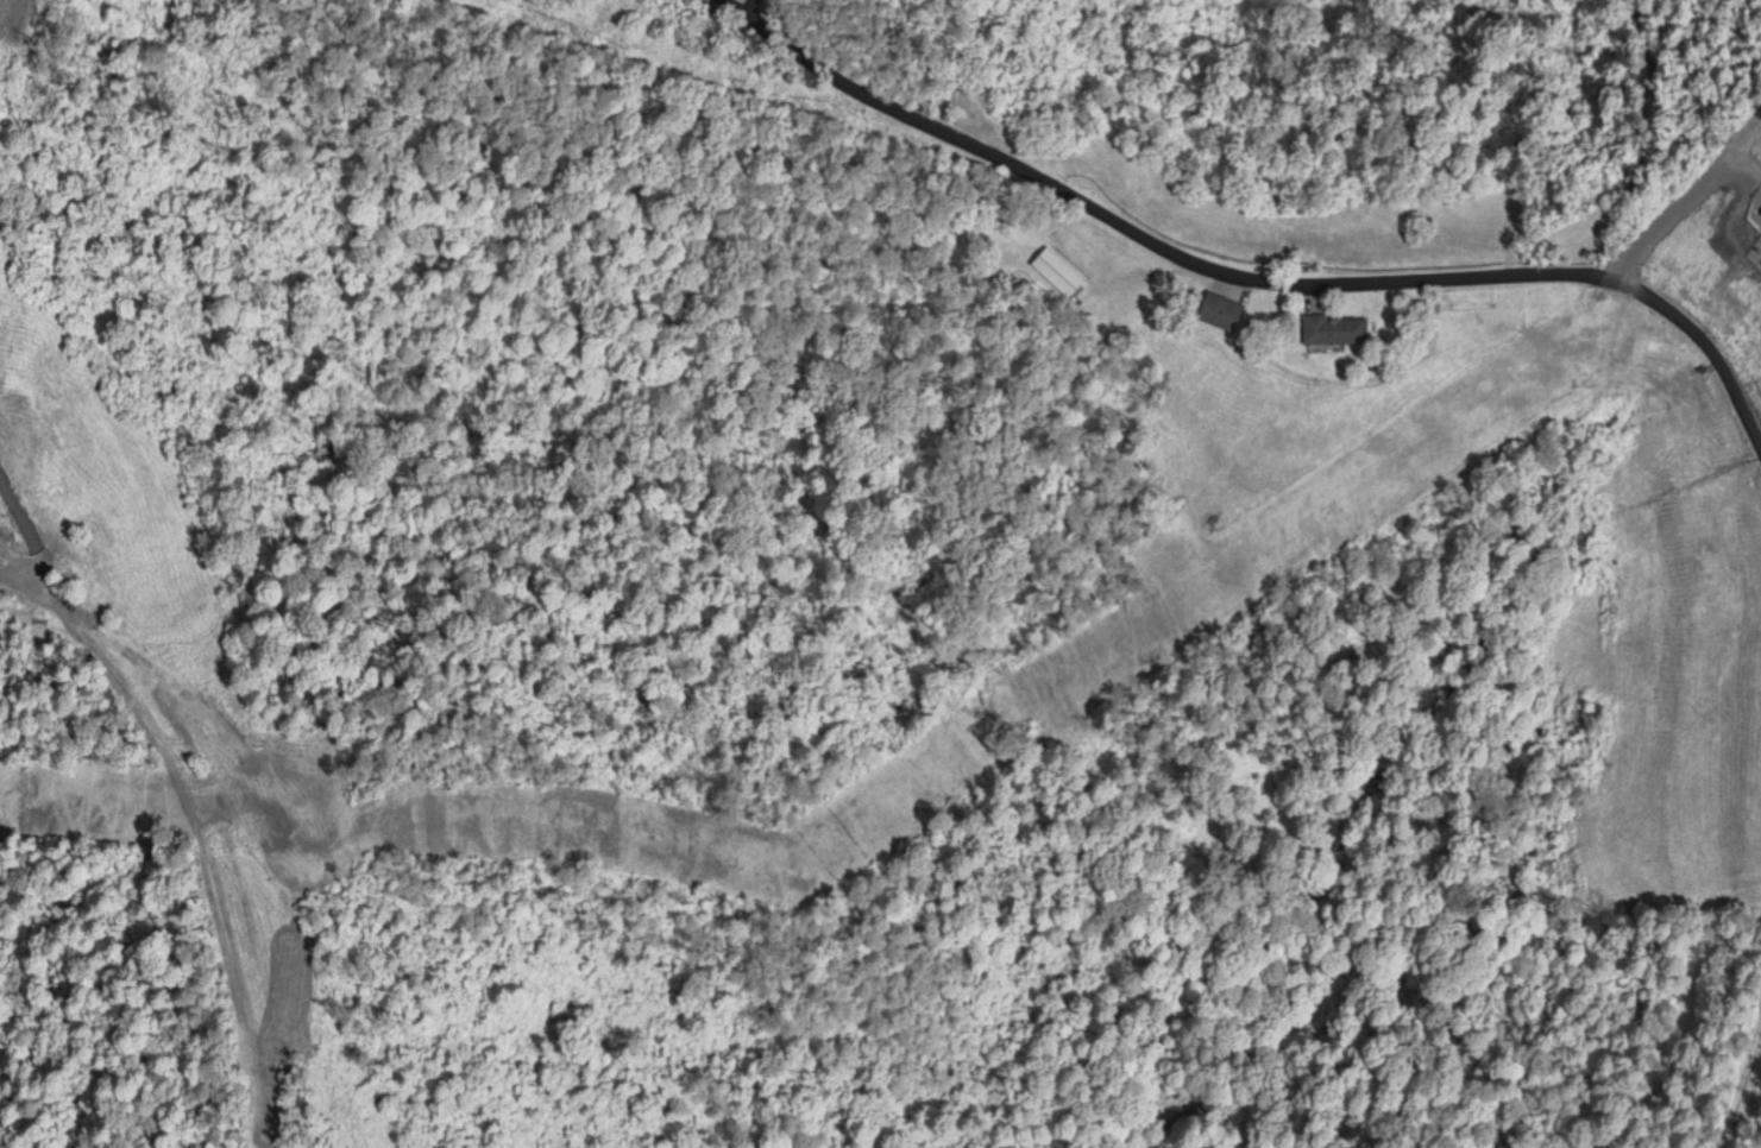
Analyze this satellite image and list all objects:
road: (1684, 196)
road: (1143, 232)
building: (1057, 275)
building: (1215, 313)
building: (1331, 332)
road: (1706, 345)
road: (31, 548)
road: (203, 856)

